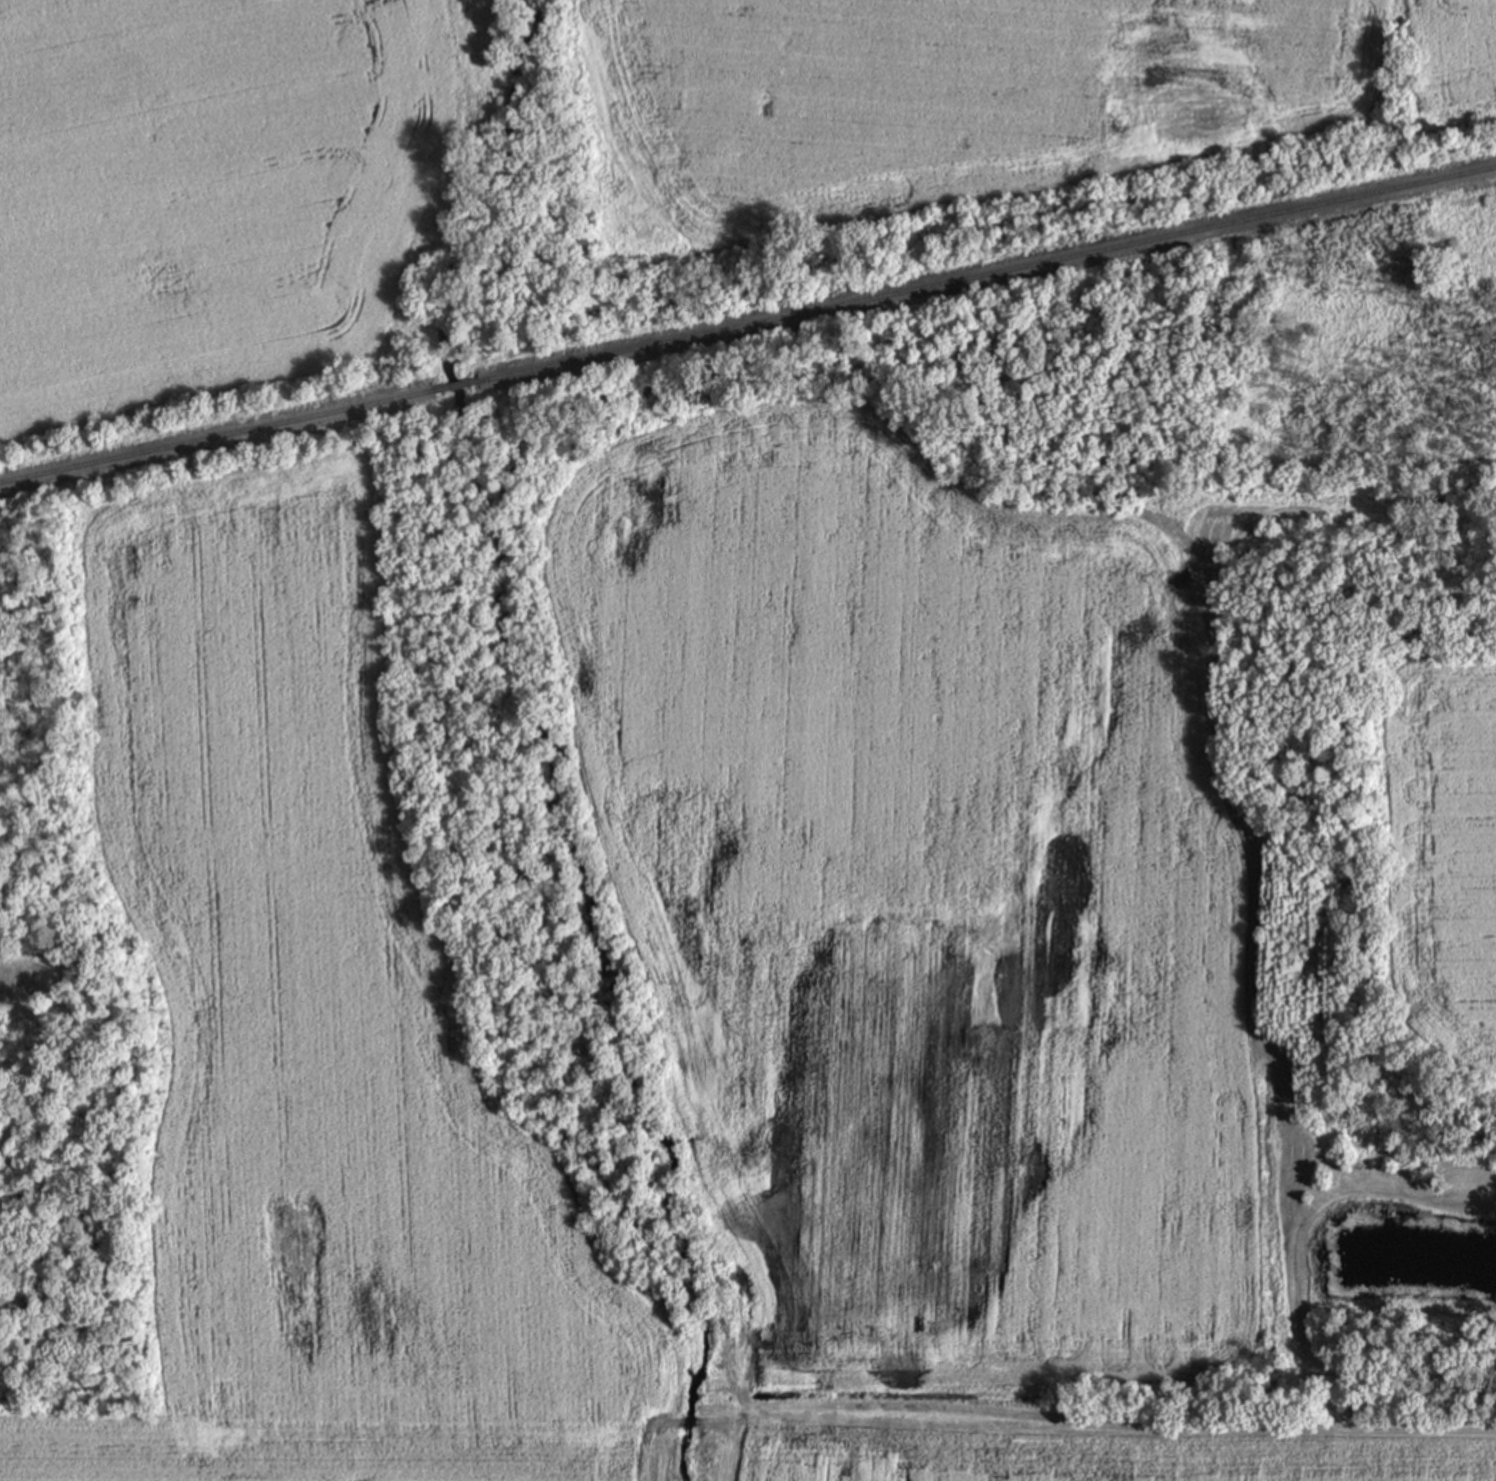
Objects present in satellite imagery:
railway: (987, 272)
railway: (454, 385)
railway: (215, 435)

